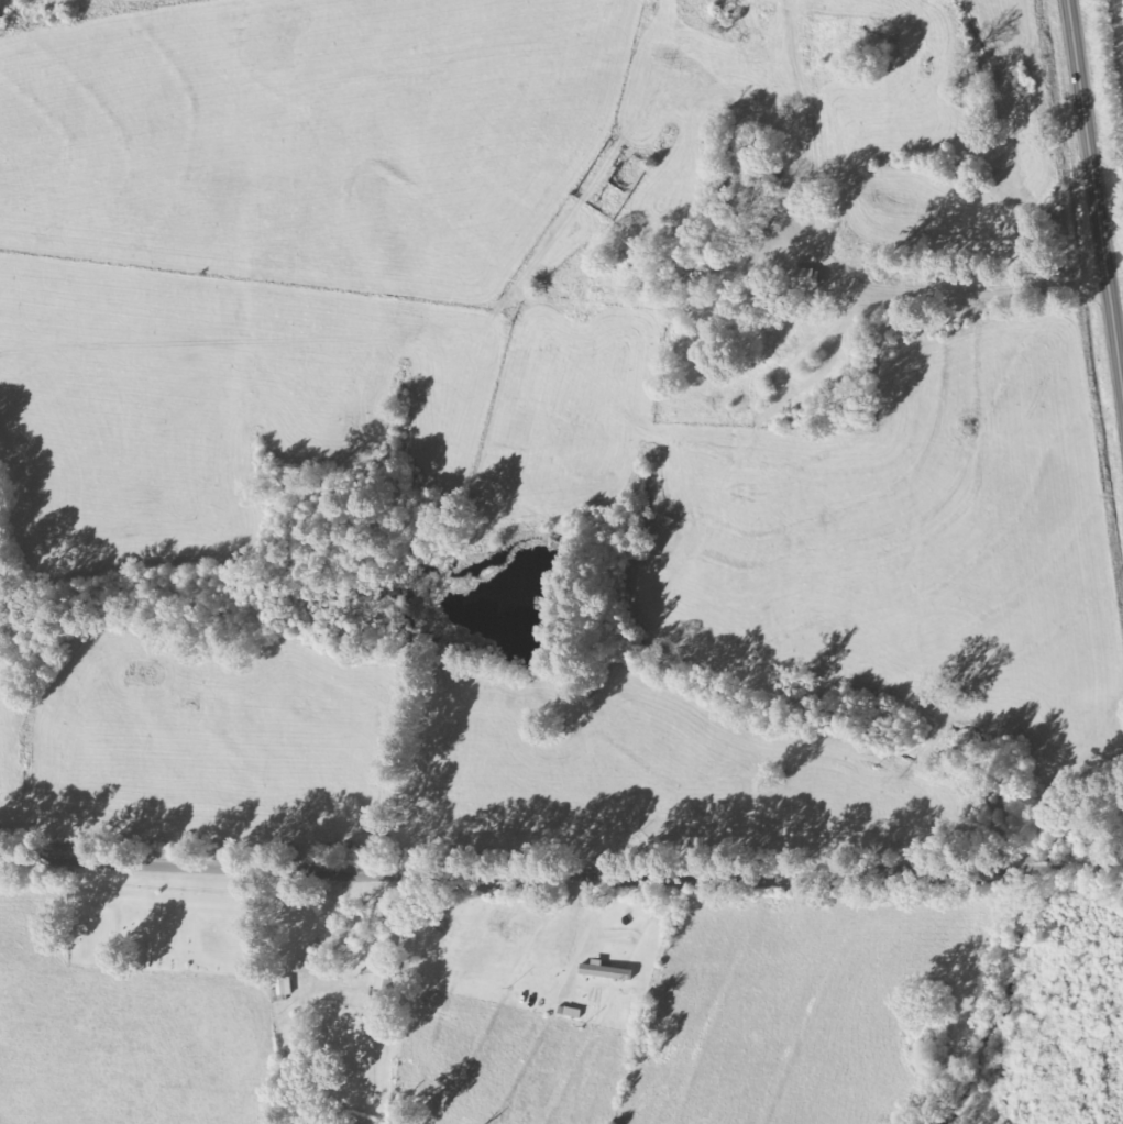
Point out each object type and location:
road: (1096, 191)
building: (803, 278)
road: (561, 874)
park: (169, 926)
building: (605, 970)
road: (431, 998)

